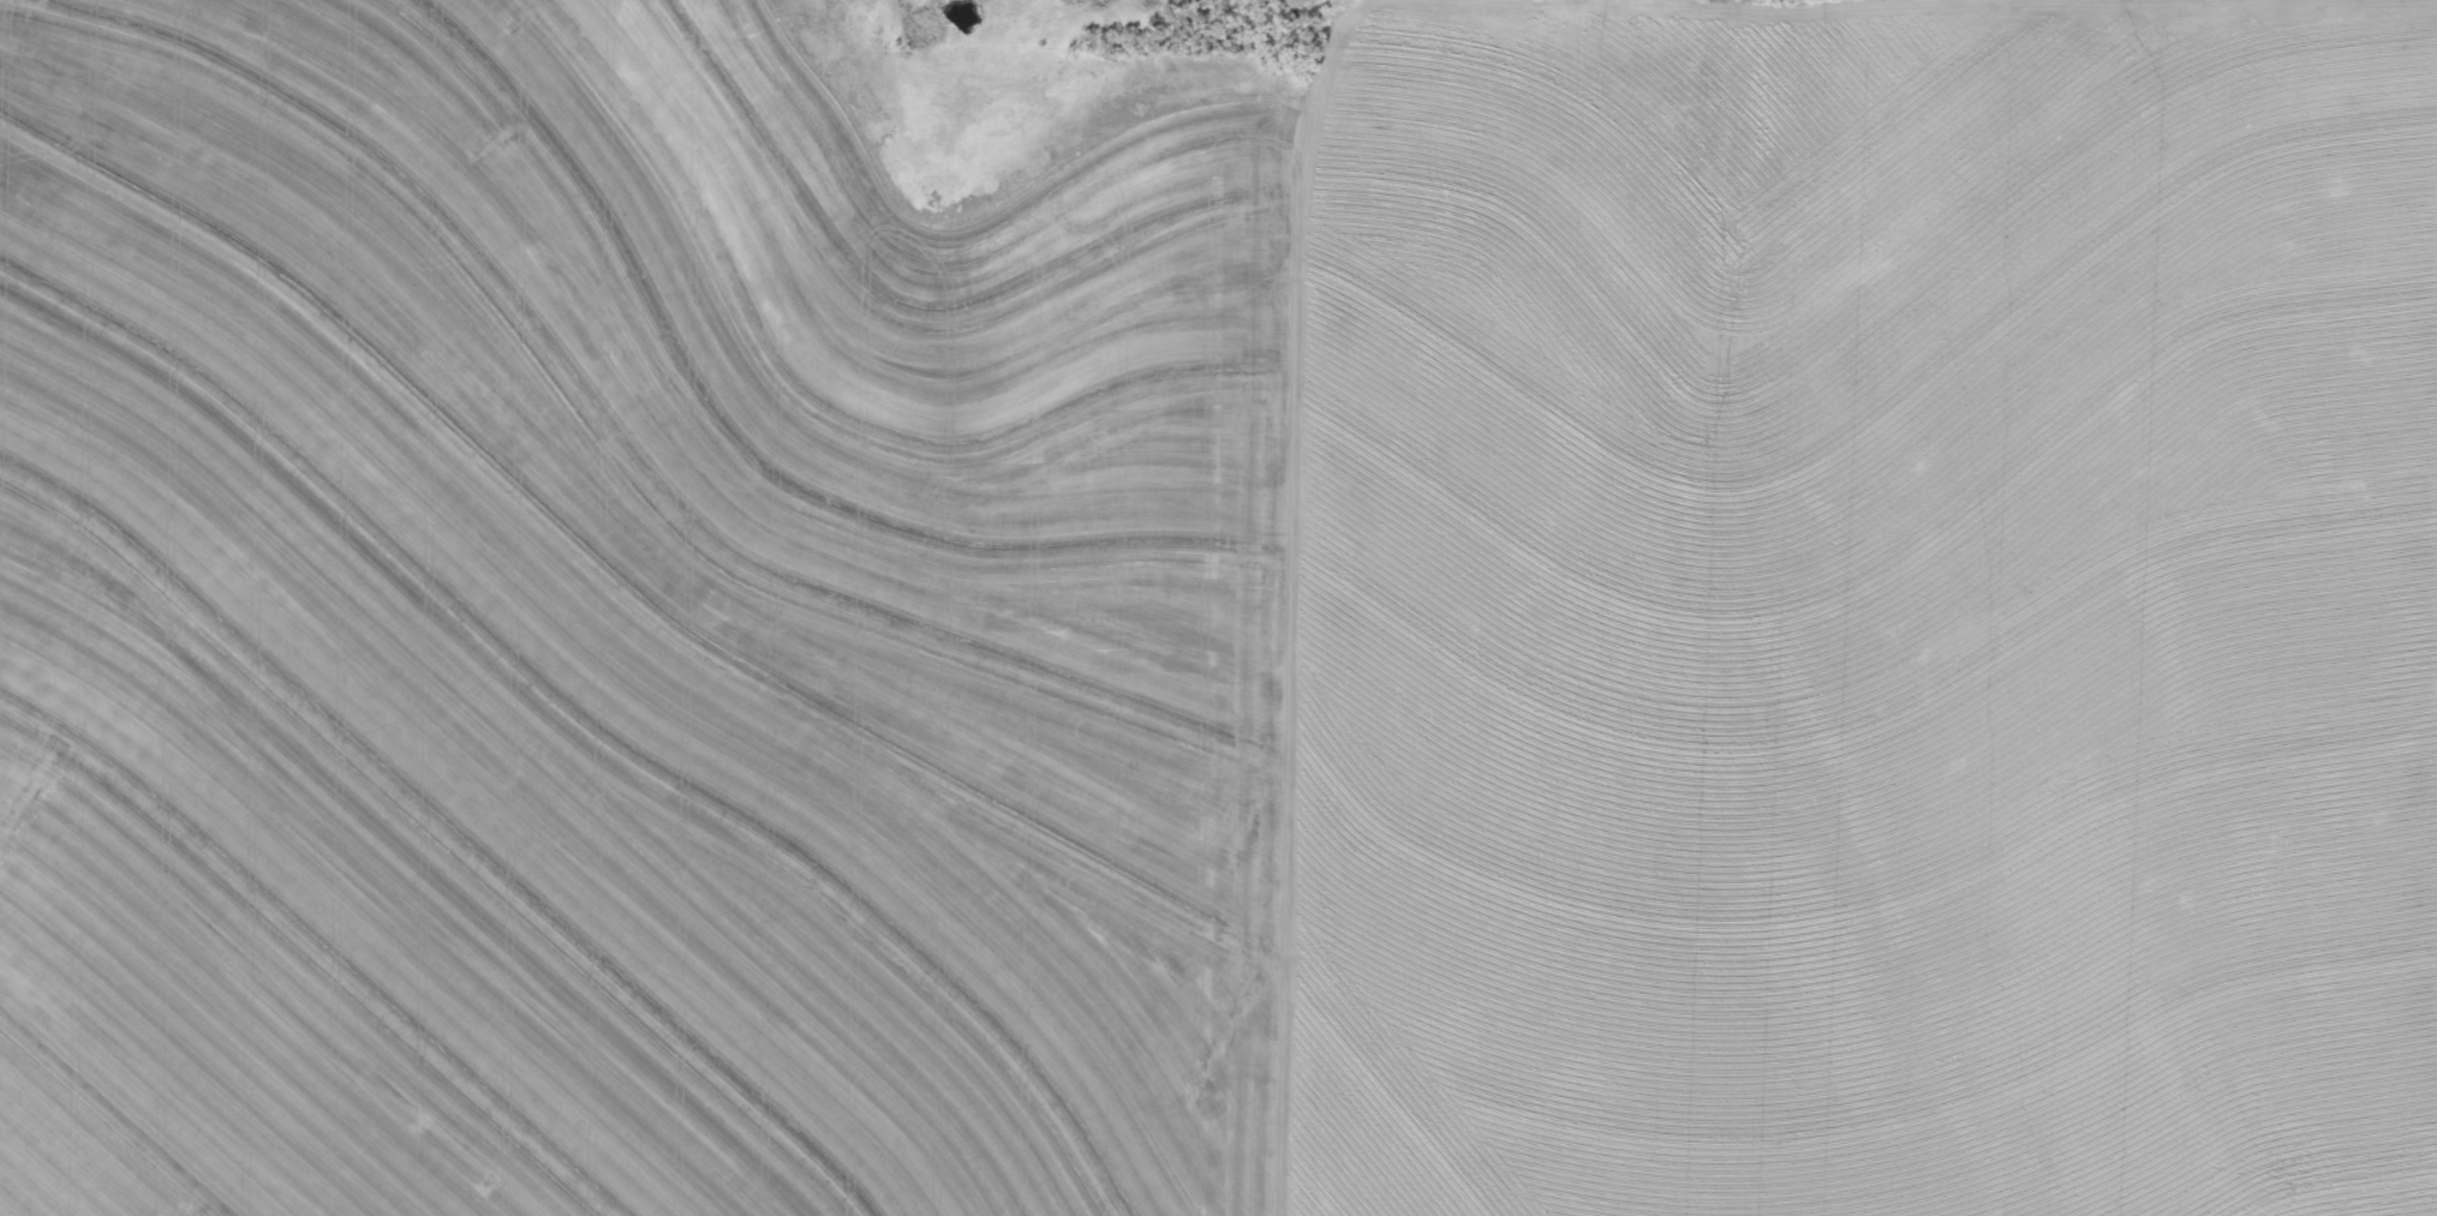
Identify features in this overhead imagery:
road: (103, 65)
road: (96, 677)

